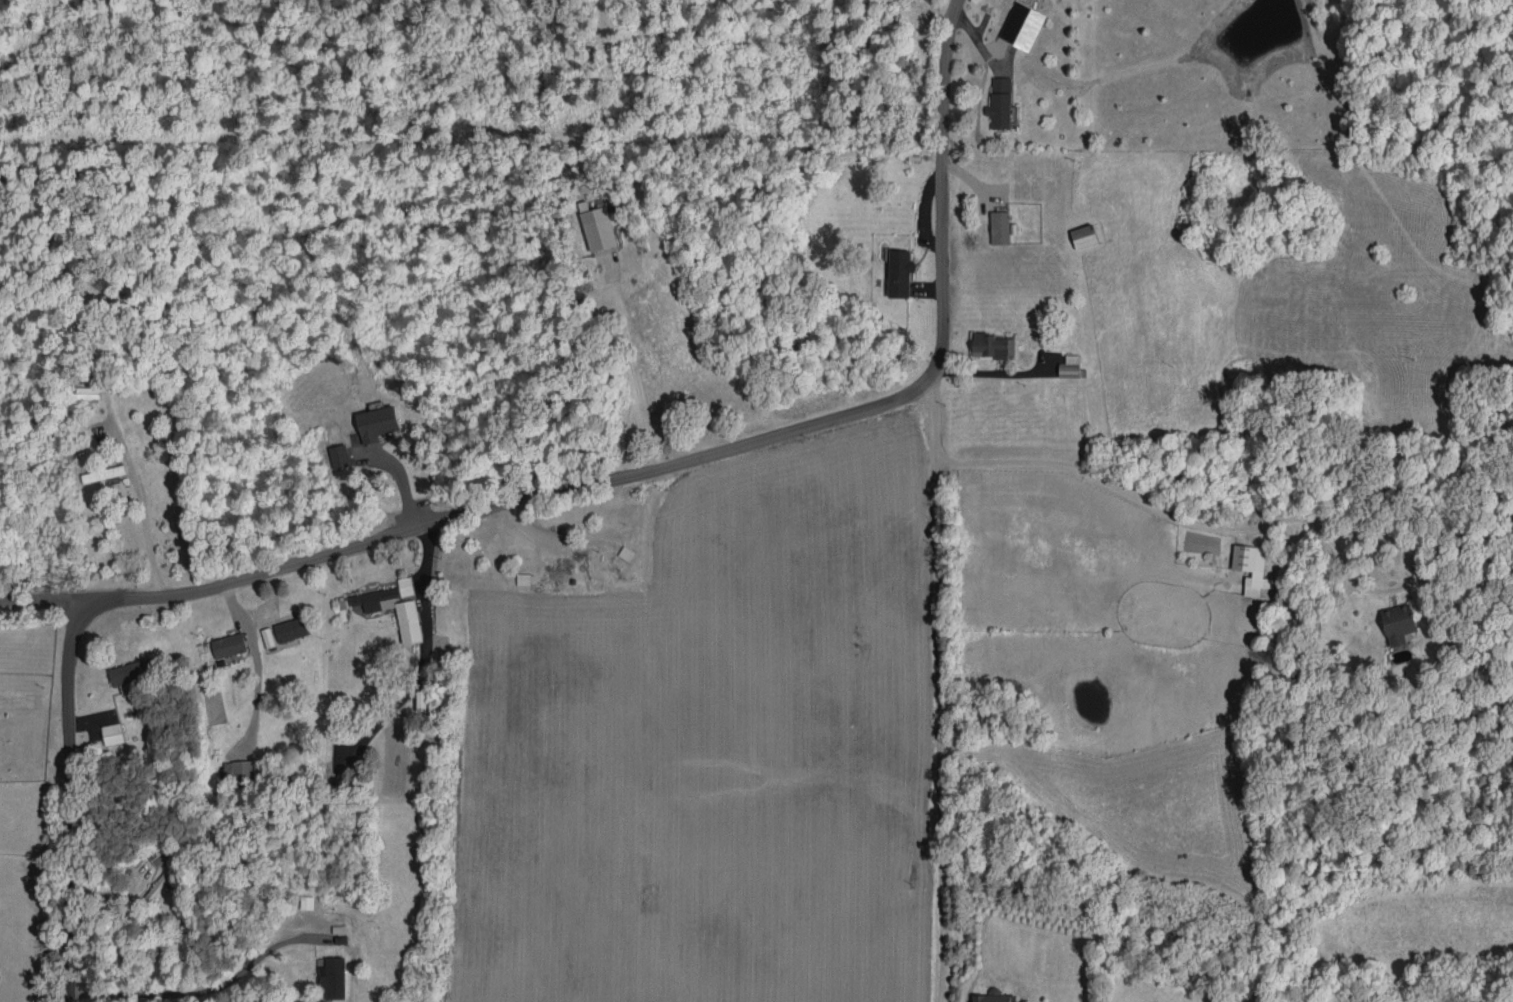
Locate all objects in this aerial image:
building: (1022, 25)
building: (1000, 103)
building: (1001, 227)
building: (599, 228)
building: (1084, 236)
building: (899, 272)
building: (991, 345)
building: (1072, 367)
road: (636, 373)
road: (935, 418)
building: (378, 423)
building: (339, 456)
road: (691, 459)
building: (104, 474)
road: (405, 481)
road: (141, 489)
road: (1161, 508)
building: (626, 553)
building: (1251, 568)
building: (523, 578)
road: (423, 593)
road: (37, 600)
building: (395, 607)
building: (1398, 623)
building: (291, 628)
building: (229, 645)
building: (130, 673)
building: (421, 700)
road: (391, 712)
road: (940, 730)
building: (112, 733)
building: (238, 772)
road: (65, 802)
building: (307, 902)
building: (333, 977)
building: (993, 996)
road: (191, 999)

